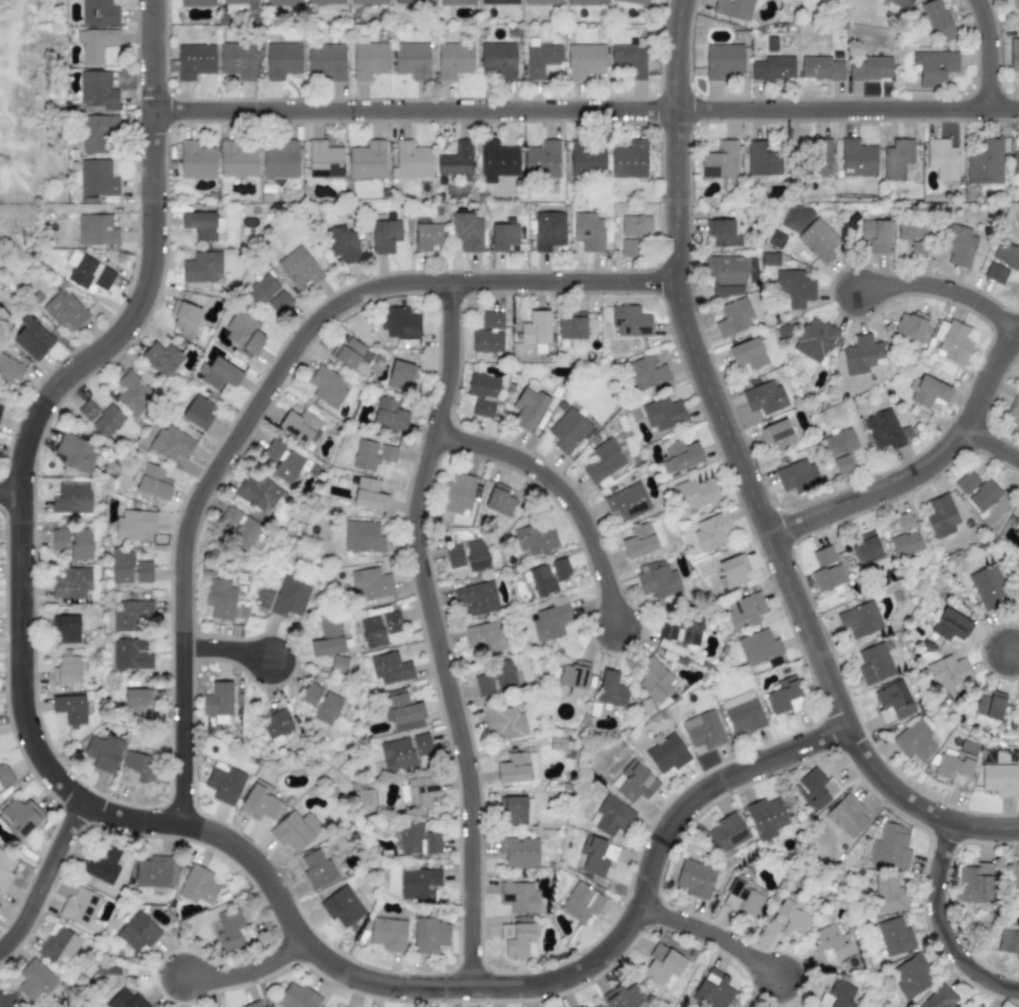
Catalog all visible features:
building: (240, 1)
building: (413, 1)
building: (501, 1)
building: (542, 1)
building: (326, 2)
building: (371, 2)
building: (634, 2)
building: (197, 3)
building: (284, 3)
building: (458, 3)
building: (585, 3)
building: (1015, 3)
building: (902, 4)
building: (734, 9)
building: (99, 12)
building: (936, 20)
building: (96, 44)
road: (983, 53)
building: (1014, 56)
building: (630, 57)
building: (369, 58)
building: (541, 58)
building: (239, 60)
building: (283, 60)
building: (413, 60)
building: (455, 60)
building: (499, 60)
building: (586, 60)
building: (725, 60)
building: (195, 61)
building: (327, 61)
building: (934, 67)
building: (773, 68)
building: (820, 68)
building: (869, 68)
building: (97, 90)
road: (585, 107)
building: (100, 136)
building: (281, 159)
building: (586, 159)
building: (820, 159)
building: (857, 159)
building: (897, 159)
building: (942, 159)
building: (412, 160)
building: (762, 160)
building: (197, 161)
building: (238, 161)
building: (325, 161)
building: (368, 161)
building: (498, 161)
building: (629, 161)
building: (721, 161)
building: (542, 162)
building: (1015, 162)
building: (457, 163)
building: (985, 164)
building: (98, 179)
building: (201, 226)
building: (636, 226)
building: (97, 231)
building: (549, 231)
building: (589, 232)
building: (467, 234)
building: (722, 234)
building: (385, 236)
building: (876, 236)
building: (914, 236)
building: (428, 237)
building: (504, 237)
building: (775, 240)
building: (819, 241)
building: (340, 244)
building: (960, 247)
building: (631, 248)
building: (1007, 256)
building: (770, 260)
building: (203, 268)
building: (303, 268)
building: (89, 272)
building: (727, 276)
road: (946, 288)
building: (794, 289)
building: (269, 295)
building: (67, 311)
building: (185, 317)
building: (734, 318)
building: (492, 320)
building: (400, 321)
building: (631, 322)
building: (572, 326)
building: (911, 326)
building: (536, 329)
building: (245, 332)
building: (32, 339)
building: (814, 340)
building: (953, 343)
building: (487, 344)
building: (349, 353)
building: (749, 354)
building: (863, 355)
building: (162, 359)
building: (9, 370)
building: (221, 373)
building: (646, 373)
building: (402, 374)
building: (326, 386)
road: (262, 388)
building: (929, 392)
building: (132, 394)
building: (484, 395)
building: (765, 398)
building: (0, 408)
building: (529, 408)
building: (392, 412)
building: (197, 413)
building: (1013, 414)
building: (664, 415)
building: (101, 419)
building: (301, 422)
building: (568, 431)
building: (886, 431)
building: (778, 435)
road: (994, 442)
building: (841, 443)
building: (173, 445)
building: (388, 454)
building: (78, 455)
building: (366, 456)
building: (681, 457)
building: (603, 462)
building: (288, 463)
building: (843, 465)
road: (921, 471)
road: (742, 473)
building: (798, 477)
building: (153, 481)
building: (967, 483)
road: (9, 488)
road: (559, 488)
building: (709, 493)
building: (260, 494)
building: (369, 495)
building: (459, 495)
building: (687, 496)
building: (984, 496)
building: (74, 499)
building: (500, 502)
building: (628, 502)
building: (942, 517)
building: (229, 518)
building: (1017, 524)
building: (134, 526)
building: (712, 532)
building: (1018, 535)
building: (244, 537)
building: (364, 537)
building: (906, 538)
building: (536, 539)
building: (644, 540)
building: (73, 543)
building: (867, 549)
building: (468, 556)
building: (824, 556)
building: (651, 566)
building: (130, 570)
building: (561, 570)
building: (732, 572)
building: (828, 578)
building: (543, 581)
building: (658, 582)
building: (72, 585)
building: (371, 585)
building: (988, 588)
building: (291, 598)
building: (478, 598)
building: (220, 599)
building: (744, 612)
building: (130, 615)
building: (861, 620)
building: (549, 623)
building: (952, 626)
building: (379, 629)
building: (66, 630)
road: (430, 630)
building: (683, 632)
building: (485, 637)
building: (329, 638)
road: (224, 643)
building: (759, 648)
road: (1016, 648)
building: (131, 655)
building: (876, 663)
building: (339, 665)
building: (390, 669)
building: (66, 670)
building: (949, 674)
building: (504, 677)
building: (575, 678)
building: (655, 679)
building: (484, 685)
building: (612, 690)
building: (311, 694)
building: (783, 695)
building: (219, 700)
building: (137, 702)
building: (893, 702)
building: (70, 709)
building: (328, 709)
building: (989, 709)
building: (402, 711)
building: (745, 716)
building: (505, 722)
building: (277, 726)
building: (704, 731)
building: (915, 741)
building: (557, 744)
building: (404, 752)
building: (103, 754)
building: (667, 755)
building: (956, 766)
building: (138, 769)
building: (518, 769)
building: (4, 776)
building: (1000, 780)
building: (634, 783)
building: (225, 784)
building: (815, 790)
building: (419, 792)
building: (260, 803)
road: (121, 816)
building: (847, 816)
building: (611, 817)
building: (18, 818)
building: (766, 818)
building: (295, 831)
building: (728, 835)
building: (418, 839)
building: (891, 848)
building: (520, 853)
building: (597, 856)
building: (103, 865)
building: (318, 869)
building: (5, 870)
road: (42, 873)
building: (154, 873)
building: (695, 879)
building: (1014, 882)
building: (419, 884)
building: (975, 885)
building: (198, 886)
building: (888, 896)
building: (520, 898)
building: (742, 898)
building: (581, 903)
building: (342, 907)
building: (81, 909)
building: (788, 920)
road: (941, 923)
building: (233, 929)
road: (711, 931)
building: (137, 933)
building: (388, 934)
building: (430, 935)
building: (894, 938)
building: (1009, 939)
building: (515, 940)
building: (829, 946)
building: (59, 948)
building: (664, 967)
road: (245, 969)
building: (108, 975)
building: (911, 977)
building: (35, 981)
building: (712, 990)
building: (840, 994)
building: (297, 997)
building: (623, 997)
building: (940, 998)
building: (7, 1000)
building: (126, 1000)
building: (254, 1004)
building: (583, 1006)
building: (598, 1006)

